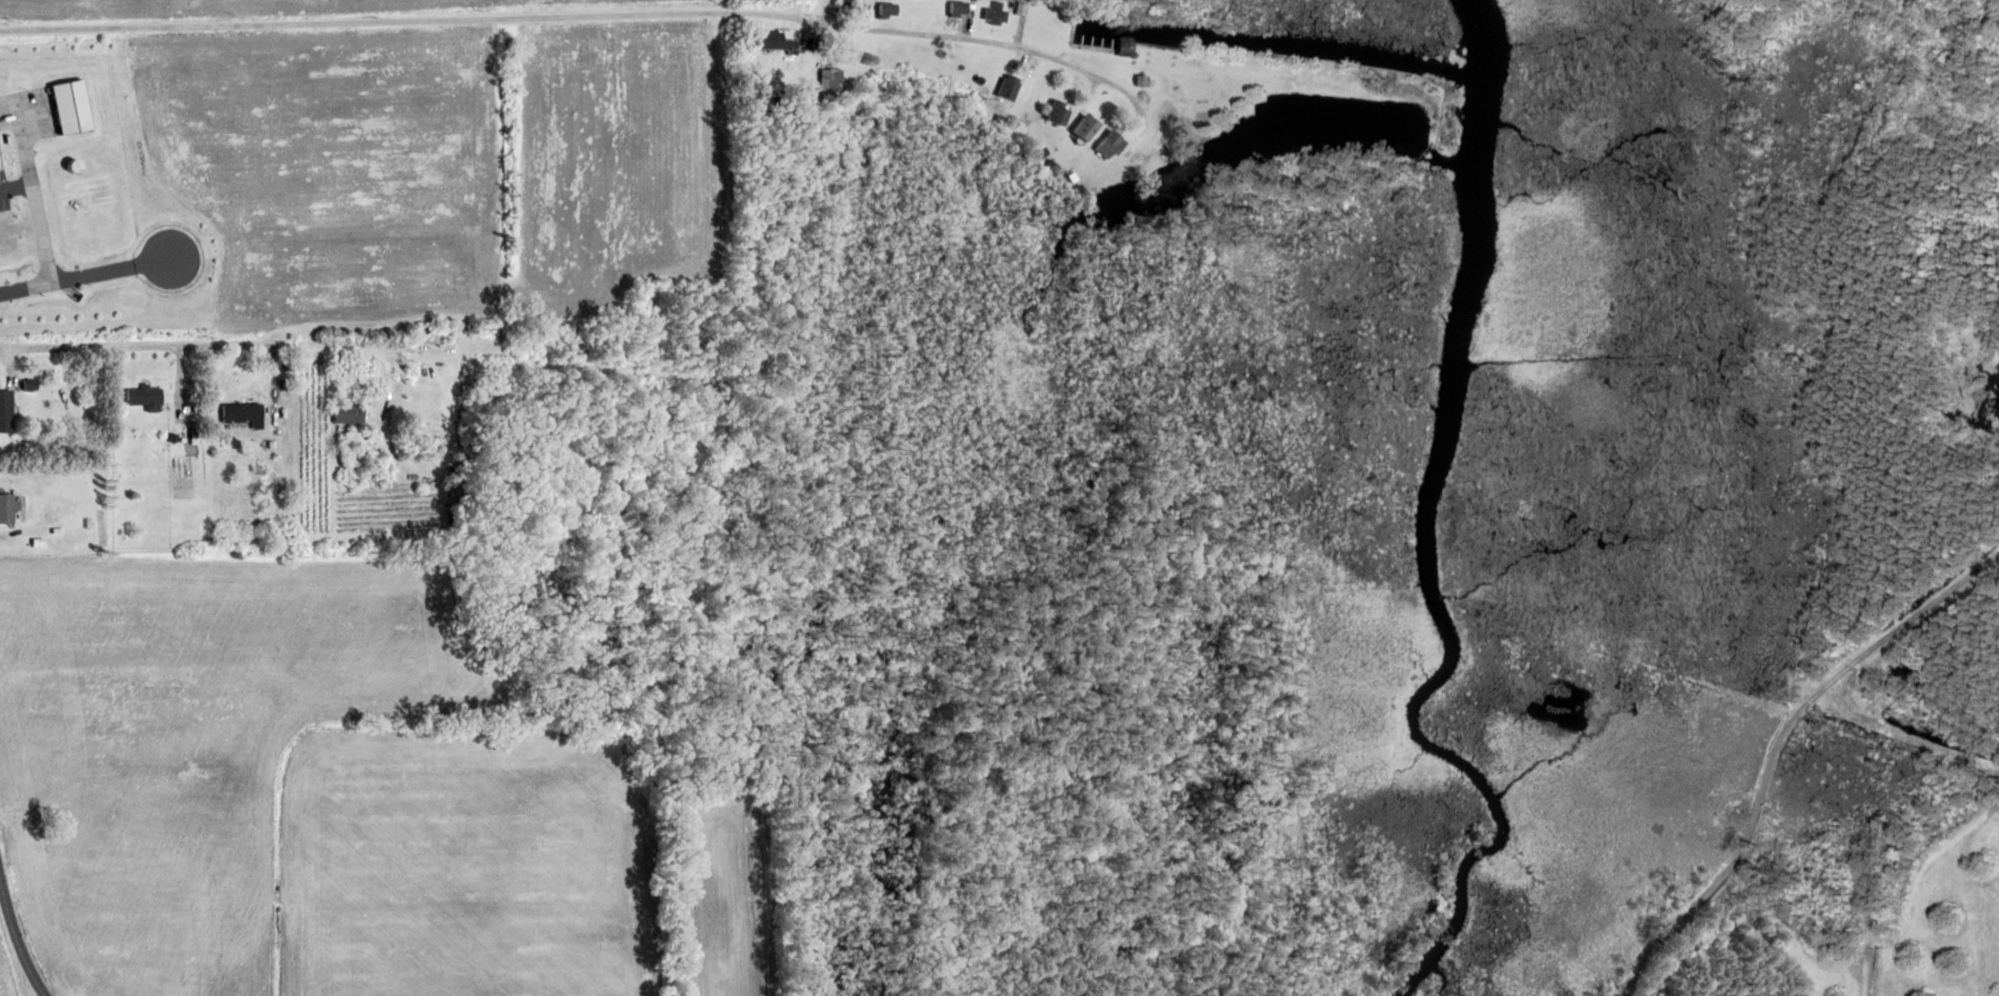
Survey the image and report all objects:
building: (849, 4)
crop: (225, 6)
building: (862, 7)
building: (1020, 7)
building: (889, 9)
building: (953, 9)
building: (991, 13)
road: (579, 15)
road: (832, 15)
road: (965, 27)
road: (1018, 32)
road: (812, 34)
pier: (1081, 40)
building: (777, 41)
pier: (1092, 42)
pier: (1102, 43)
pier: (1111, 44)
building: (1122, 46)
road: (1024, 60)
building: (976, 80)
road: (1066, 80)
building: (1140, 80)
building: (831, 82)
building: (1004, 88)
road: (1092, 92)
building: (781, 100)
building: (72, 105)
building: (1054, 113)
building: (997, 119)
road: (1136, 124)
building: (1083, 128)
building: (1106, 144)
building: (1038, 153)
crop: (621, 161)
building: (77, 164)
storage tank: (77, 164)
building: (1049, 165)
crop: (334, 168)
building: (1068, 176)
road: (16, 186)
road: (32, 186)
building: (1075, 188)
parking lot: (4, 192)
road: (85, 275)
building: (490, 326)
building: (422, 330)
road: (138, 345)
road: (347, 347)
road: (435, 357)
road: (9, 366)
road: (182, 382)
road: (277, 382)
building: (32, 385)
building: (145, 397)
building: (7, 411)
building: (350, 412)
building: (245, 414)
building: (196, 435)
building: (175, 436)
building: (273, 444)
building: (455, 490)
building: (8, 508)
road: (9, 537)
building: (39, 542)
road: (1902, 738)
crop: (193, 743)
road: (1774, 748)
crop: (463, 865)
road: (1910, 898)
crop: (727, 901)
road: (16, 940)

